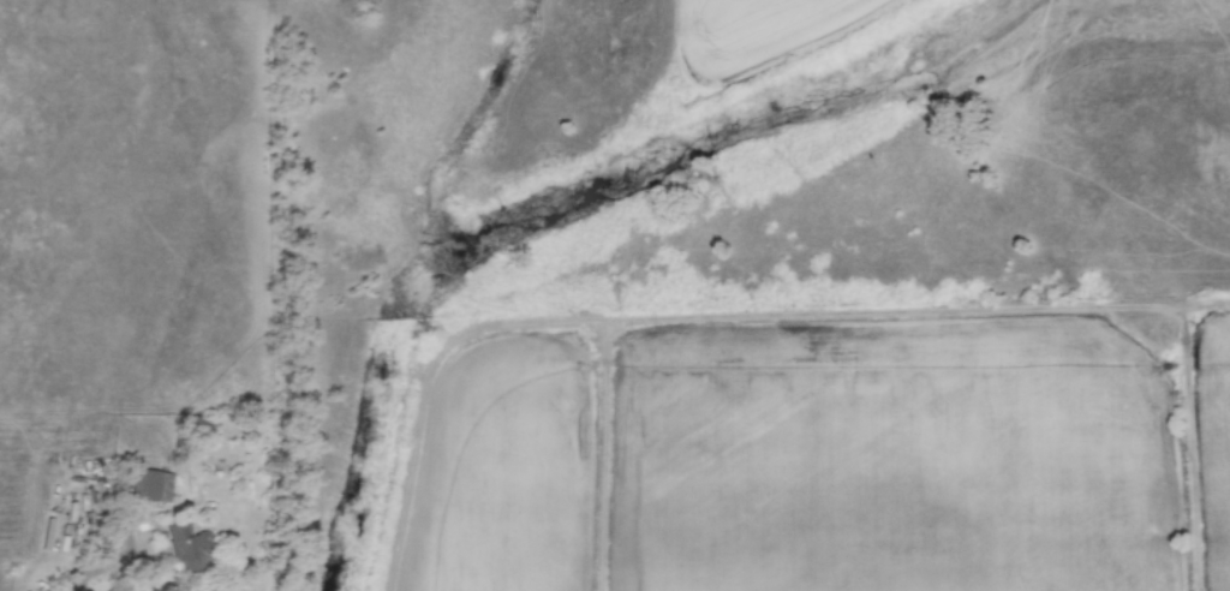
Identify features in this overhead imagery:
building: (148, 485)
building: (181, 538)
road: (74, 563)

